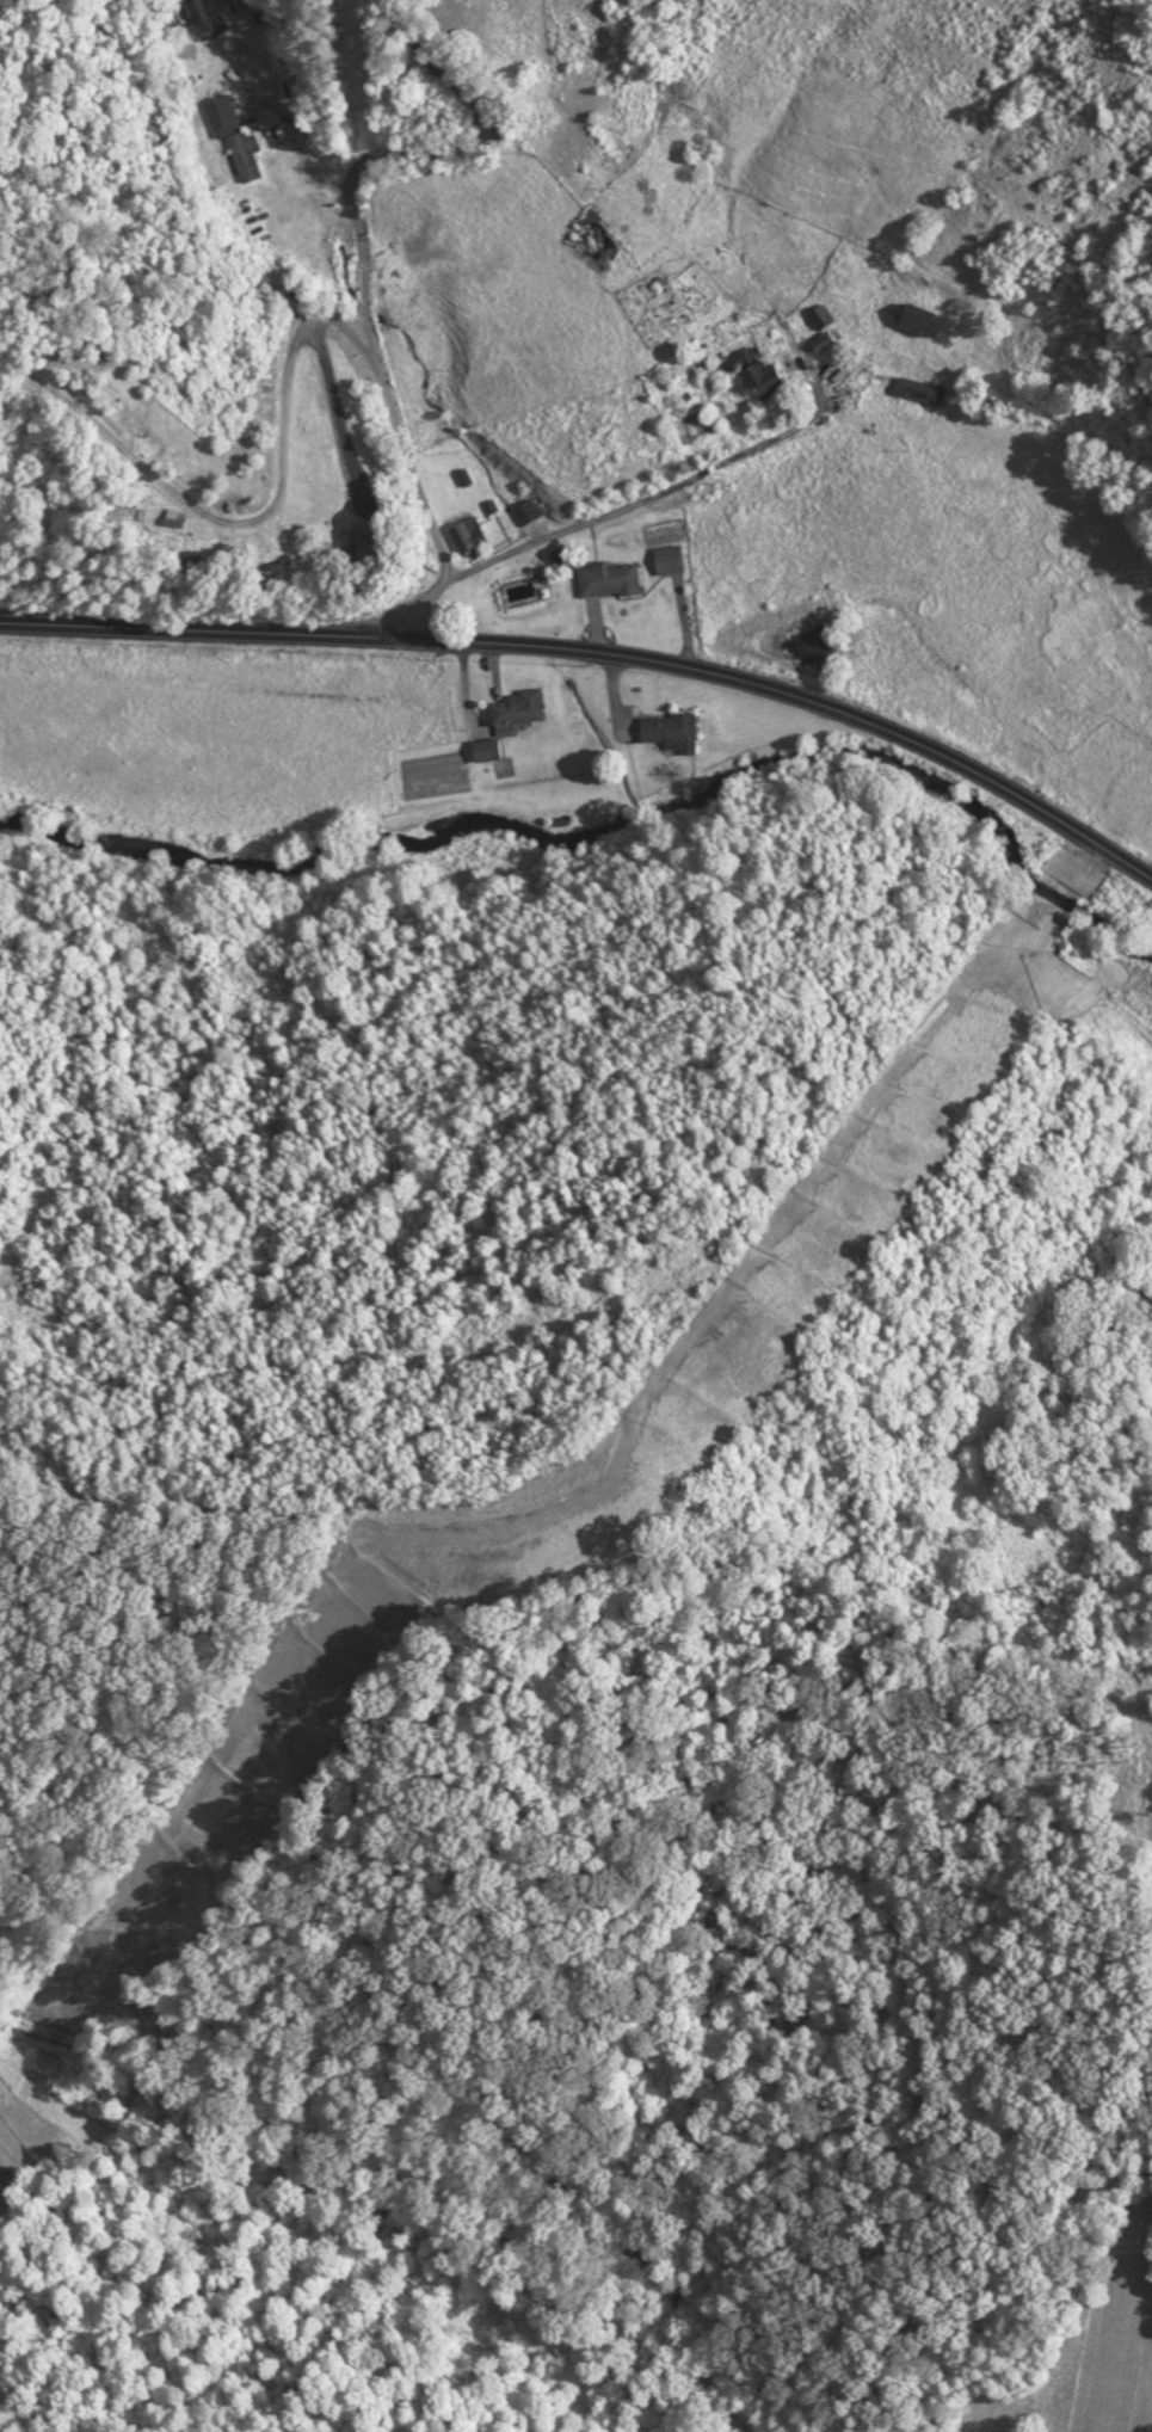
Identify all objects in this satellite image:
building: (198, 14)
building: (232, 138)
road: (349, 208)
building: (589, 235)
building: (817, 315)
building: (911, 318)
building: (749, 370)
building: (914, 388)
road: (630, 497)
building: (526, 509)
building: (464, 532)
building: (664, 558)
building: (603, 578)
road: (600, 653)
building: (513, 706)
building: (665, 729)
building: (482, 747)

